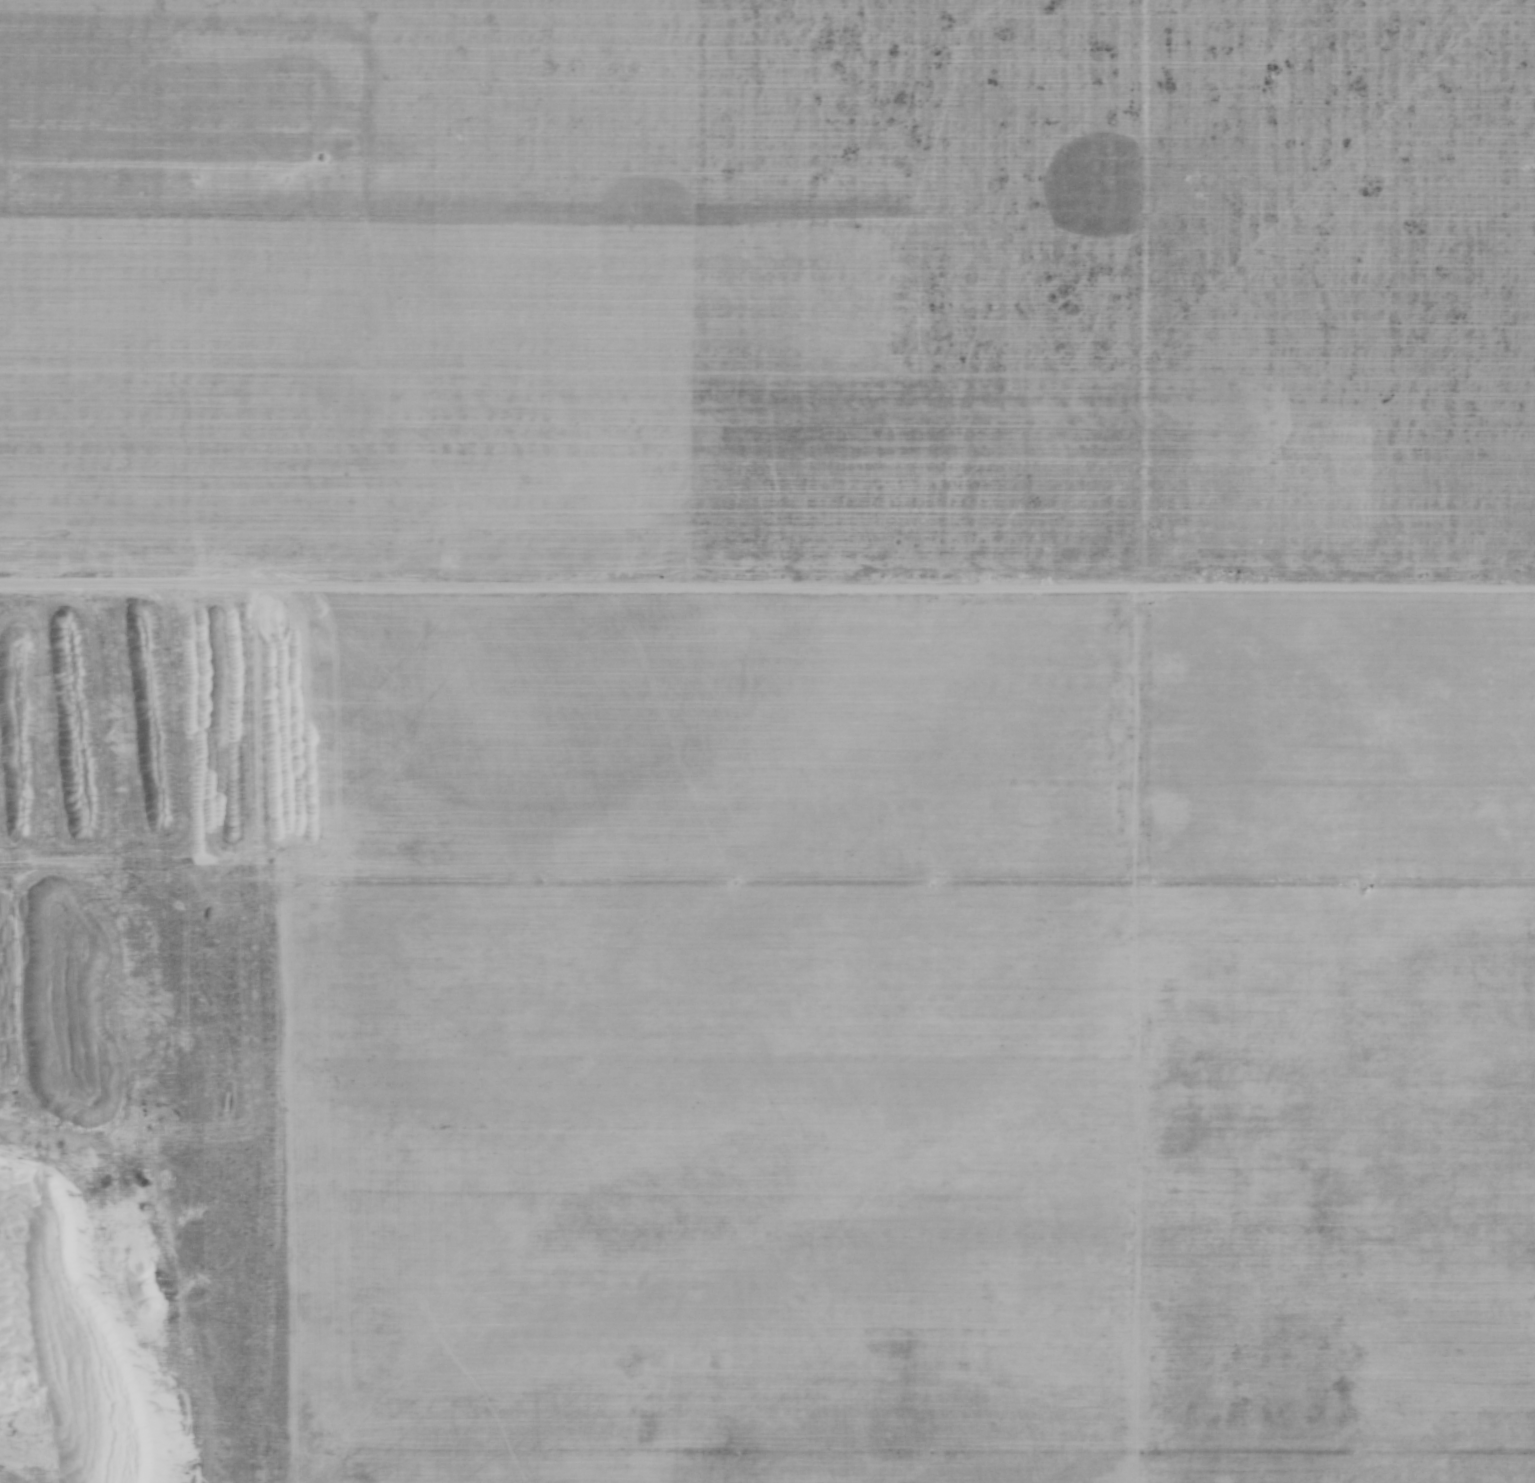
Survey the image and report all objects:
road: (767, 585)

